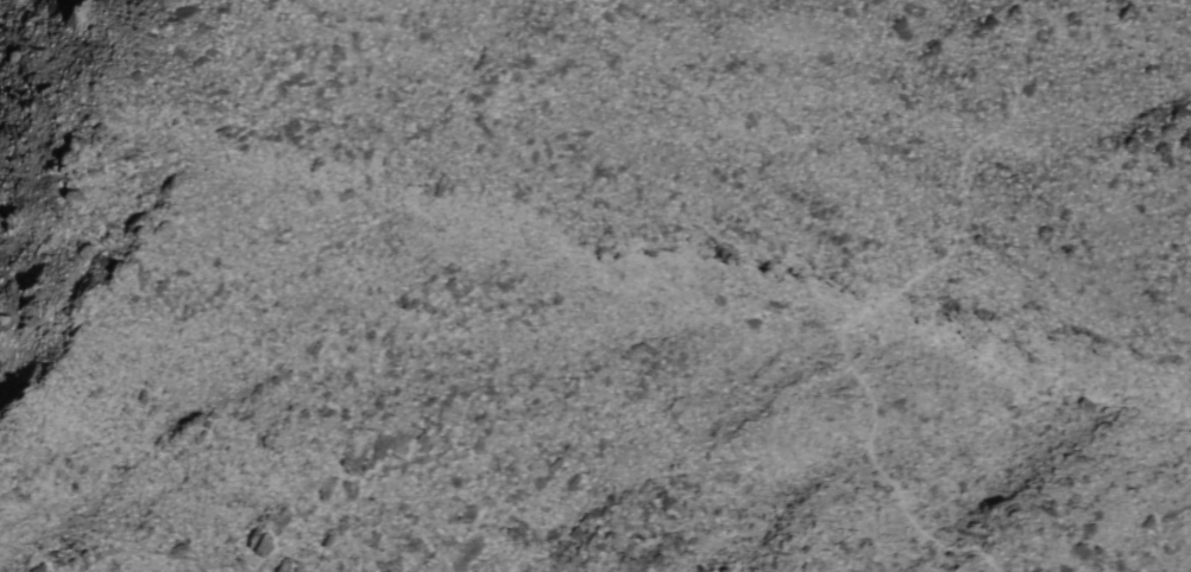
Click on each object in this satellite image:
road: (868, 291)

